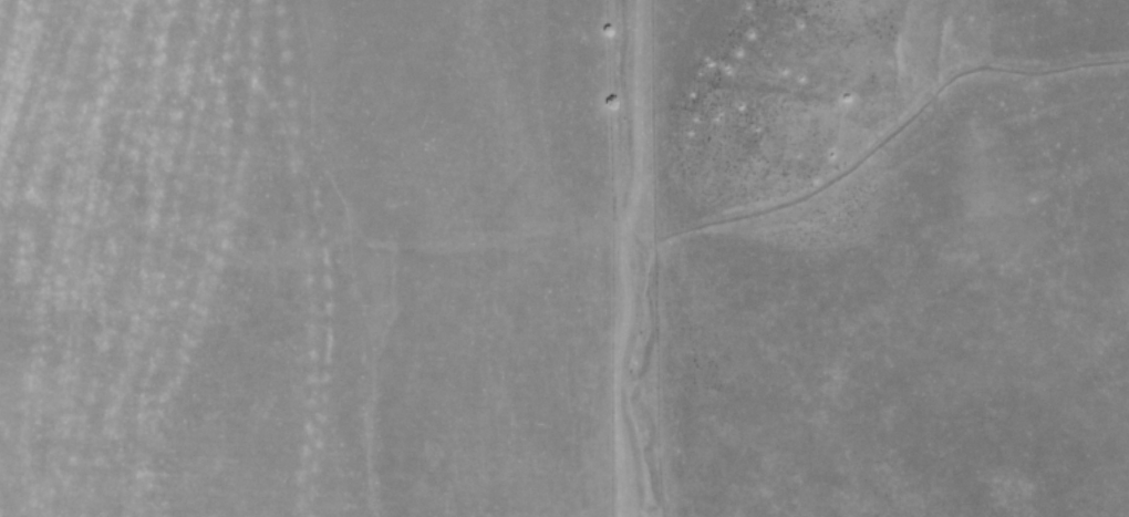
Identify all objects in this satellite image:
road: (611, 258)

